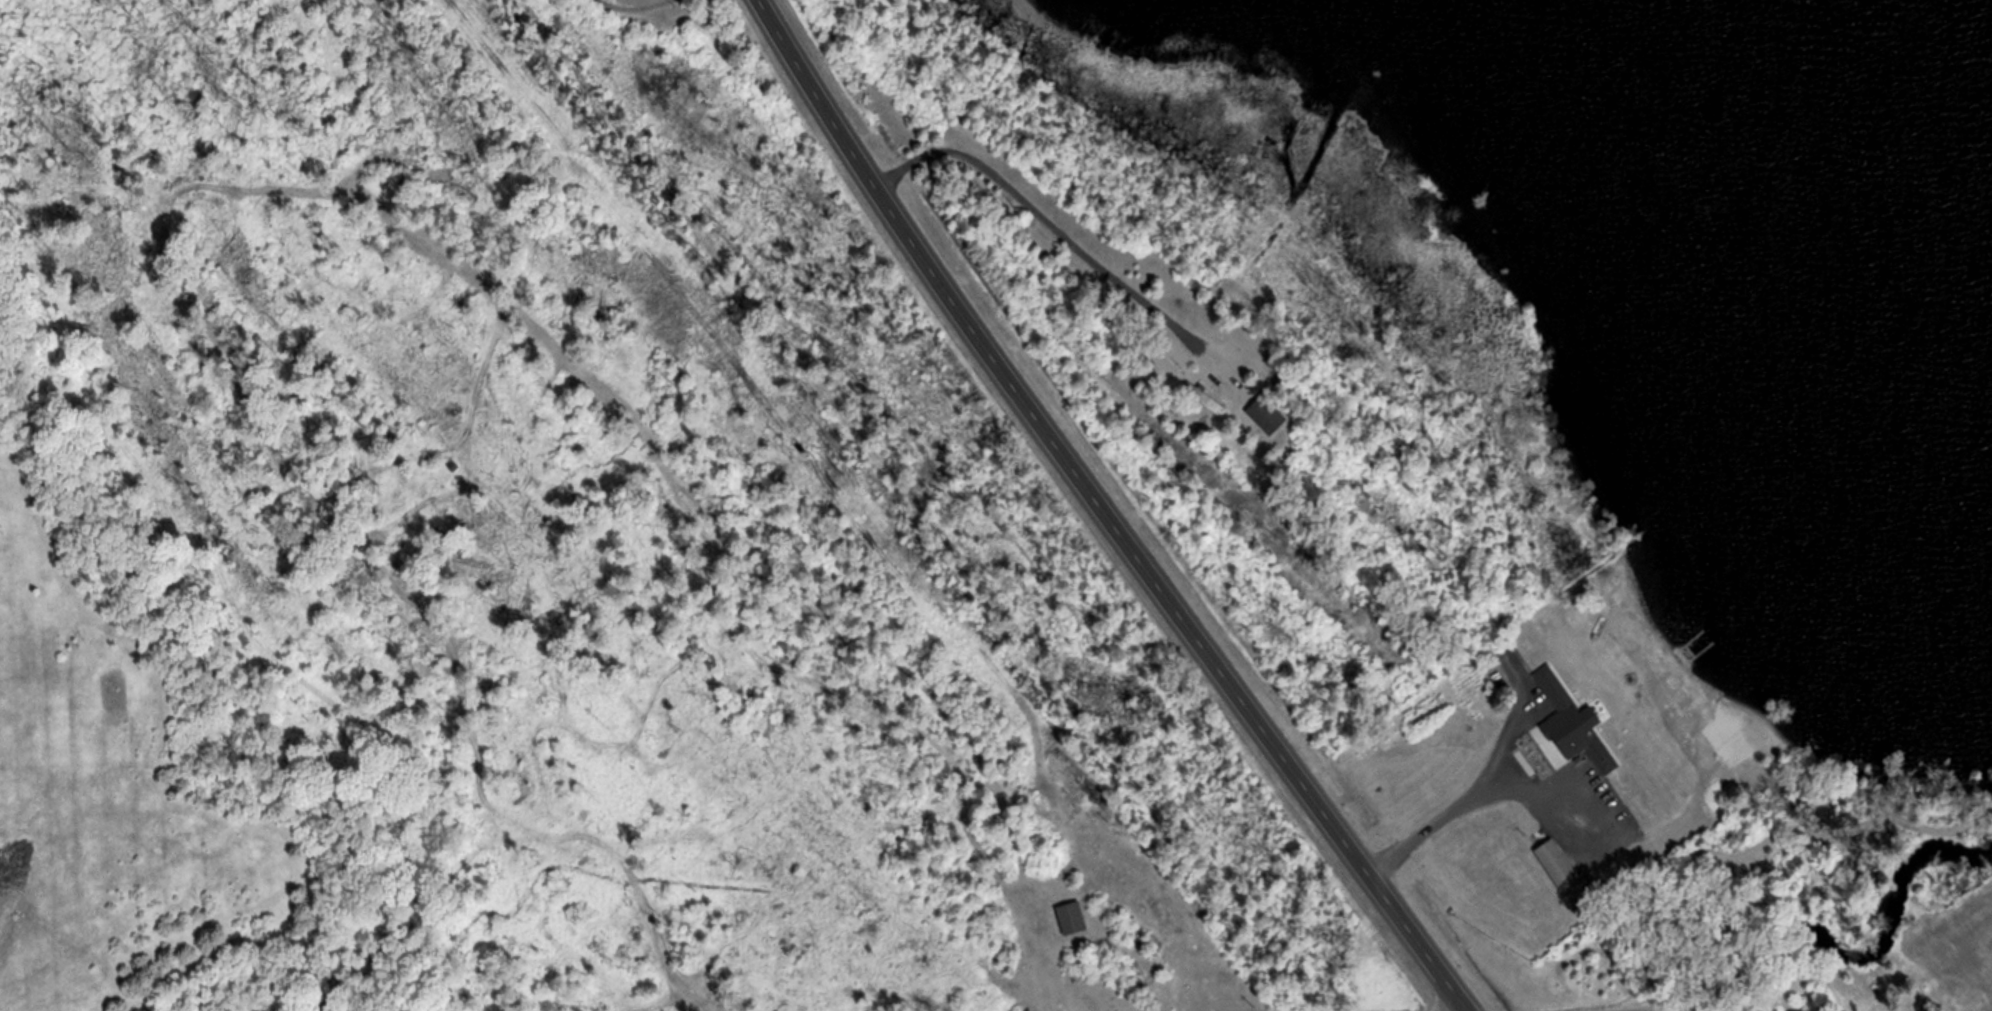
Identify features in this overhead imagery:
road: (632, 20)
building: (1269, 416)
road: (1099, 510)
building: (1577, 722)
road: (1528, 786)
building: (1566, 877)
building: (1074, 919)

